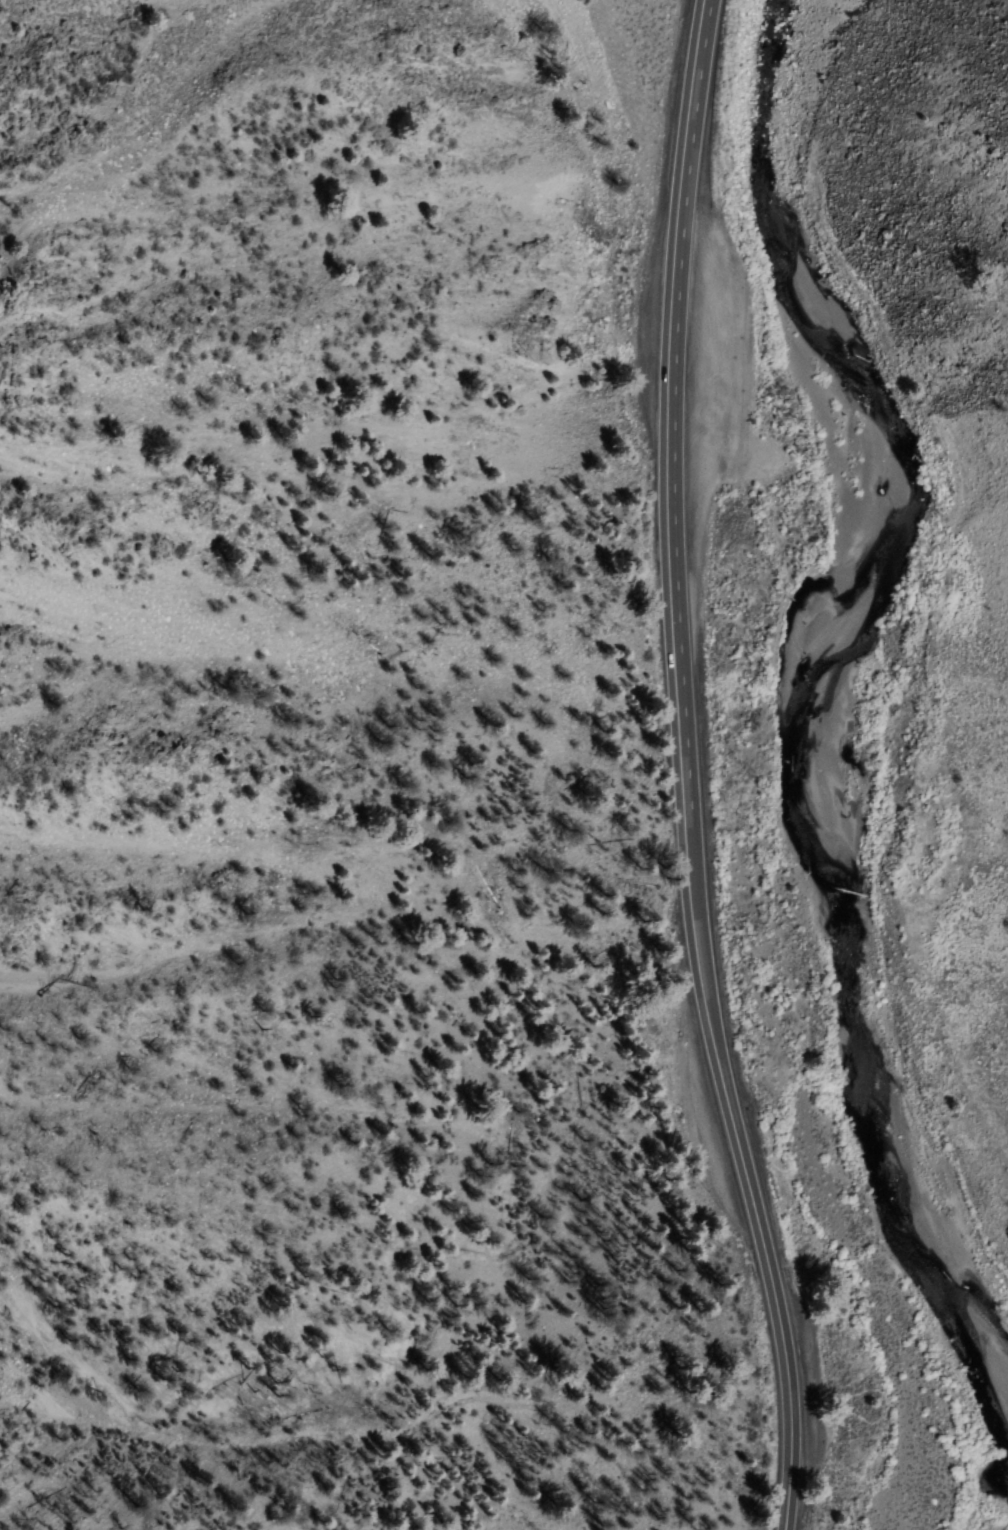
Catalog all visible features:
road: (665, 376)
river: (790, 698)
road: (734, 1142)

